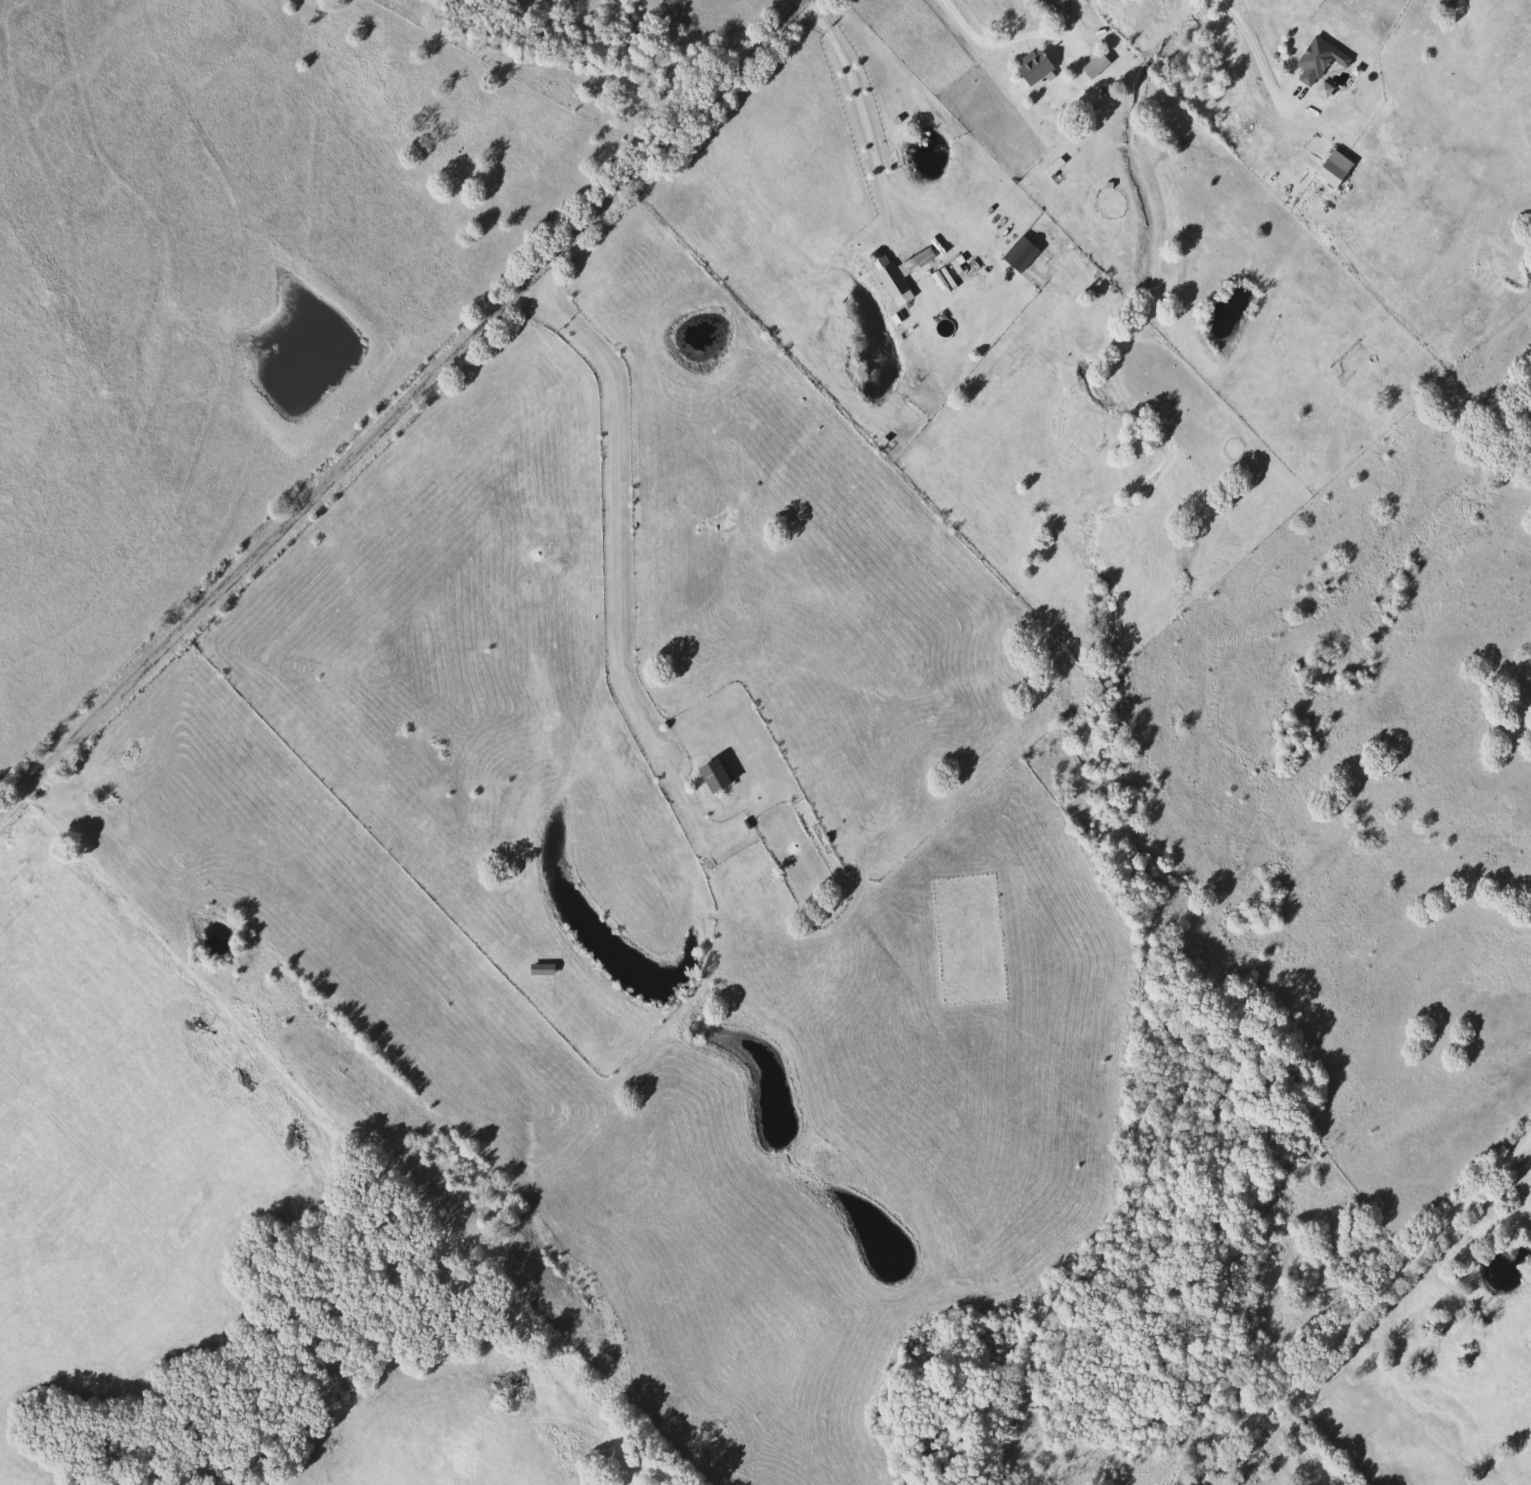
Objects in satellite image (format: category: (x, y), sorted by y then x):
road: (1004, 43)
road: (1252, 46)
building: (1317, 59)
building: (1093, 65)
building: (1031, 67)
road: (862, 118)
building: (1331, 169)
building: (892, 284)
road: (403, 405)
road: (620, 499)
building: (710, 774)
building: (539, 968)
road: (1524, 1156)
road: (1353, 1307)
road: (1334, 1434)

